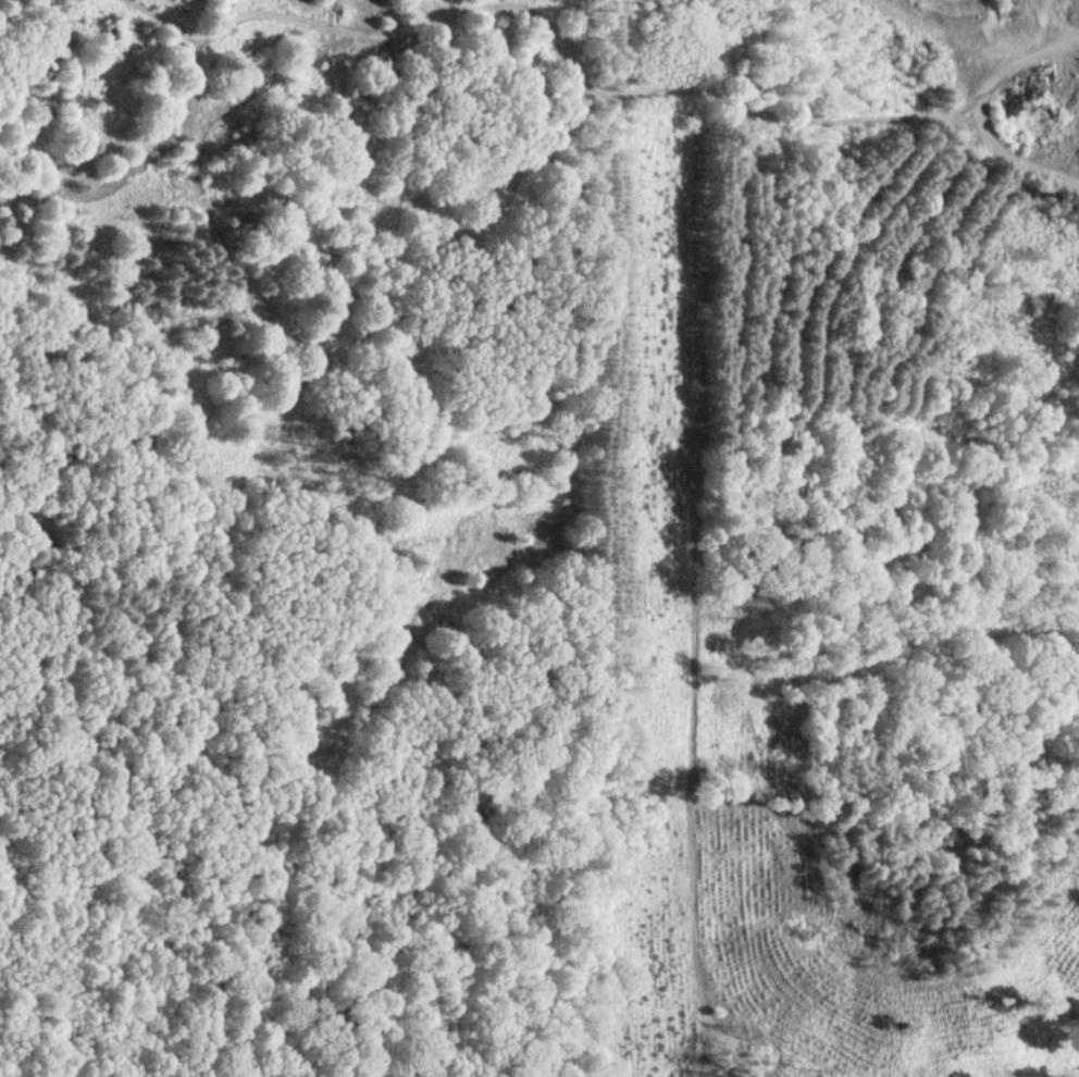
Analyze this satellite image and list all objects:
quarry: (976, 73)

